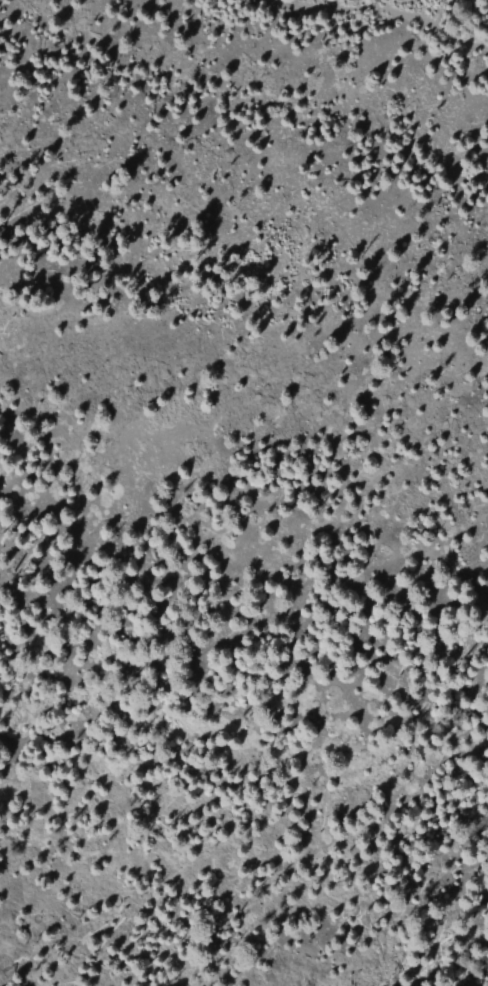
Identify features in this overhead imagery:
road: (405, 21)

